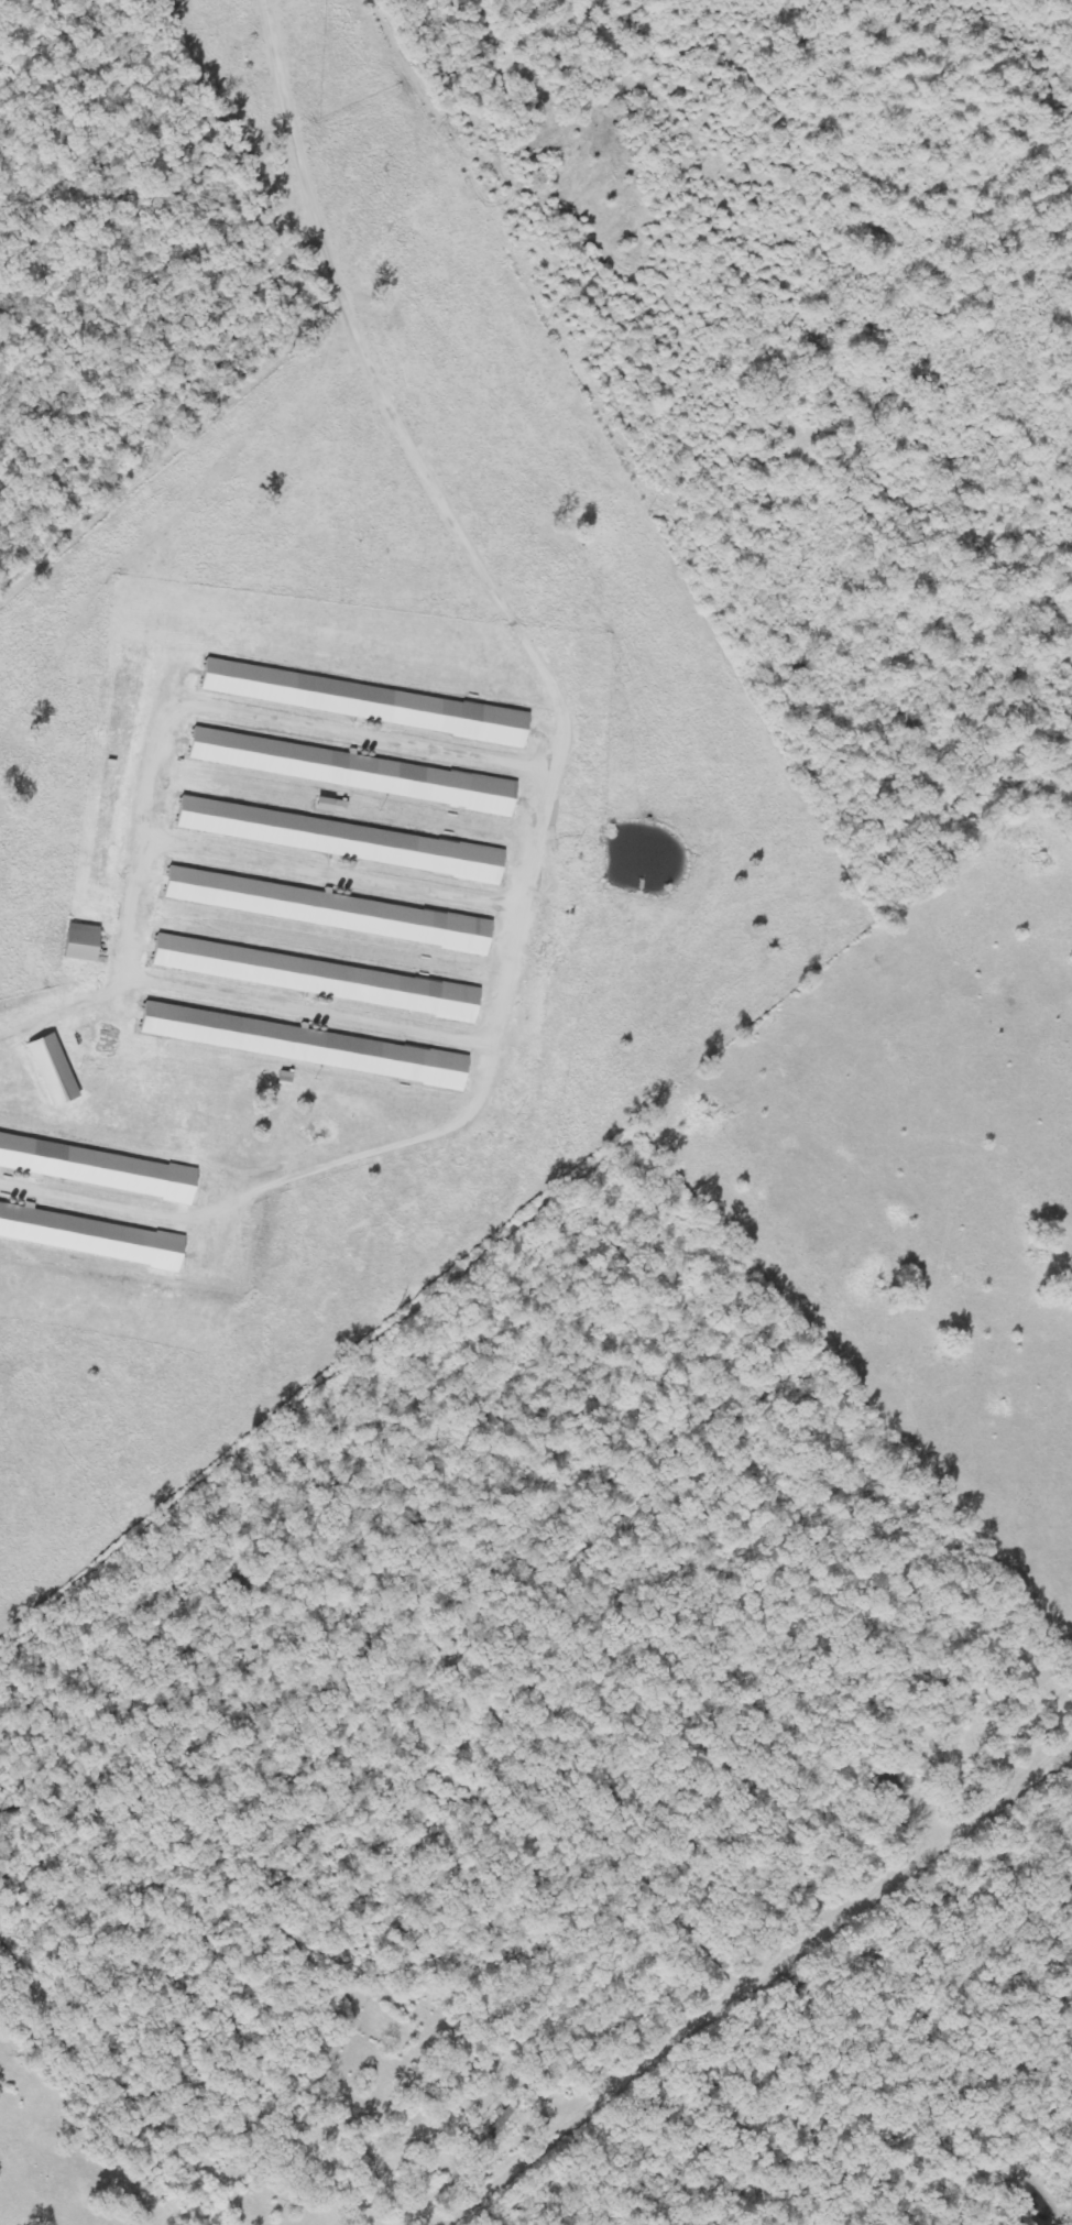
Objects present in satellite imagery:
building: (368, 704)
building: (355, 772)
building: (343, 840)
building: (331, 910)
building: (85, 944)
building: (319, 979)
building: (307, 1046)
building: (56, 1071)
building: (99, 1168)
building: (90, 1236)

